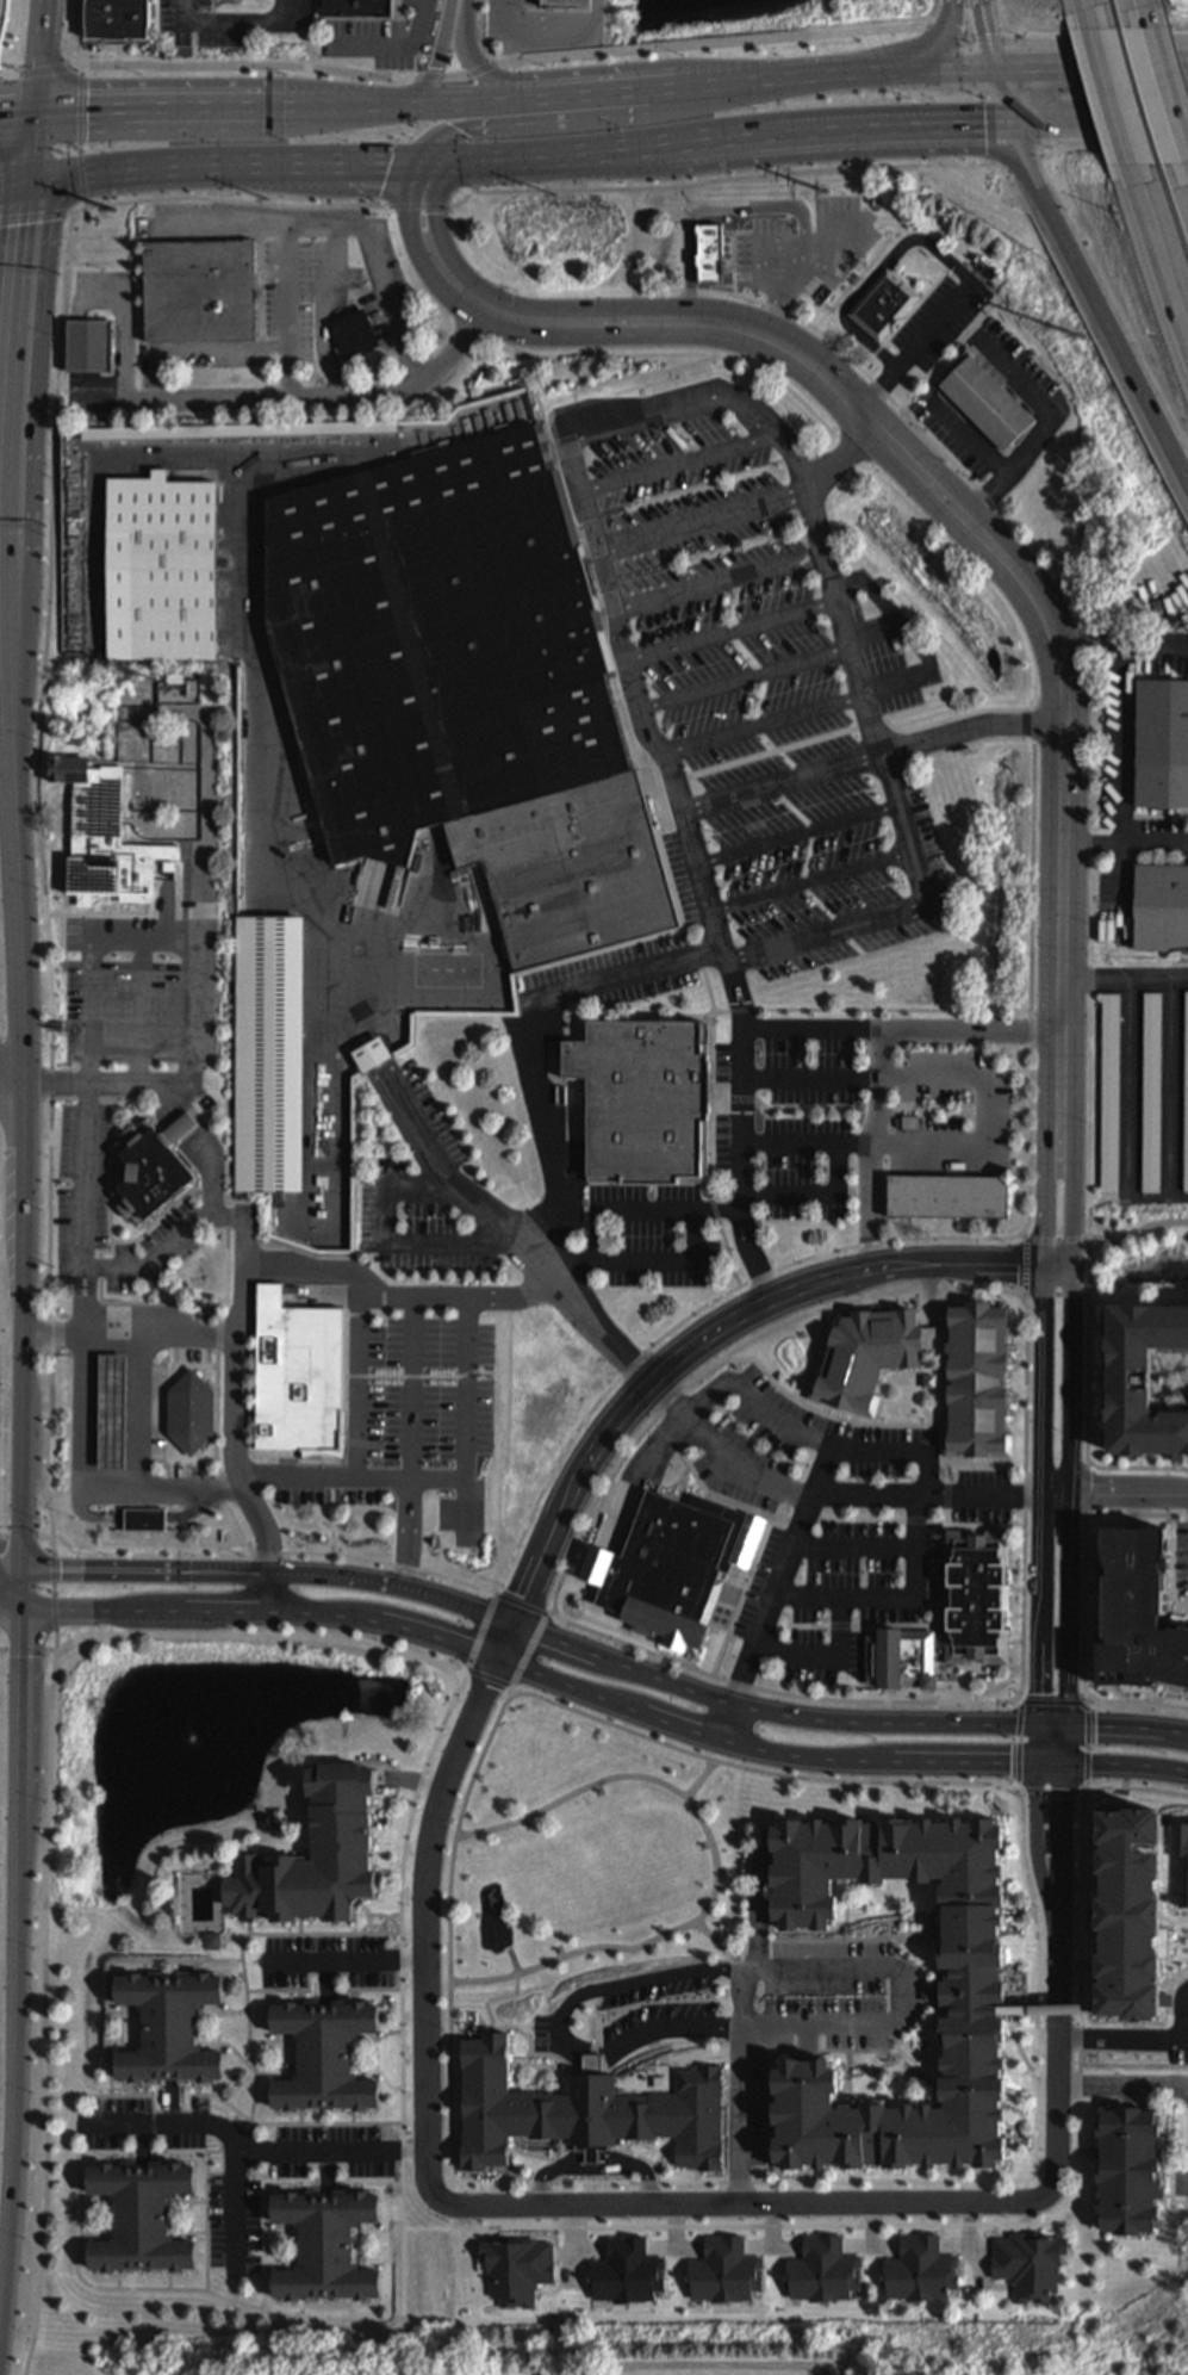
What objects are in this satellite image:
parking lot: (417, 1)
building: (568, 4)
building: (360, 8)
road: (1086, 8)
road: (1147, 8)
road: (185, 10)
road: (281, 14)
road: (598, 15)
building: (118, 20)
parking lot: (209, 20)
road: (223, 20)
road: (76, 31)
road: (537, 32)
road: (484, 33)
parking lot: (541, 35)
road: (989, 36)
parking lot: (368, 38)
road: (969, 39)
road: (720, 42)
road: (391, 44)
road: (1099, 44)
road: (438, 52)
road: (41, 54)
road: (937, 58)
road: (503, 62)
road: (249, 64)
road: (45, 67)
road: (481, 69)
road: (1125, 69)
road: (6, 72)
road: (1031, 72)
traffic signals: (1000, 73)
road: (939, 74)
road: (456, 75)
road: (433, 76)
road: (497, 81)
road: (1169, 83)
road: (1007, 98)
road: (459, 100)
road: (1112, 104)
road: (20, 110)
traffic signals: (41, 110)
road: (576, 116)
road: (1101, 122)
traffic signals: (1014, 124)
road: (80, 134)
road: (738, 138)
road: (33, 143)
road: (1114, 147)
road: (1019, 156)
road: (438, 161)
traffic signals: (464, 161)
traffic signals: (415, 162)
road: (220, 163)
road: (815, 170)
road: (13, 178)
traffic signals: (27, 178)
road: (429, 185)
road: (540, 188)
power tower: (804, 190)
power tower: (695, 191)
power tower: (477, 193)
road: (411, 194)
power tower: (268, 197)
power tower: (97, 200)
road: (230, 200)
road: (709, 204)
road: (419, 205)
road: (36, 212)
road: (342, 222)
road: (767, 241)
parking lot: (804, 243)
road: (825, 250)
building: (713, 254)
road: (337, 262)
road: (1159, 268)
parking lot: (305, 271)
road: (873, 273)
road: (784, 287)
building: (201, 291)
road: (1095, 300)
building: (883, 302)
road: (288, 308)
parking lot: (940, 316)
road: (803, 321)
road: (934, 327)
building: (355, 334)
power tower: (1080, 336)
road: (224, 346)
road: (324, 346)
building: (88, 347)
parking lot: (1010, 358)
road: (158, 371)
road: (15, 372)
road: (634, 378)
road: (879, 389)
road: (100, 393)
road: (249, 393)
road: (723, 393)
building: (984, 401)
building: (204, 433)
parking lot: (954, 433)
road: (1027, 442)
road: (841, 454)
road: (679, 458)
road: (984, 495)
road: (702, 515)
road: (962, 515)
building: (163, 570)
road: (720, 579)
road: (730, 626)
road: (8, 639)
road: (1120, 643)
road: (742, 674)
road: (1035, 680)
building: (466, 692)
parking lot: (750, 694)
road: (761, 720)
building: (1163, 744)
road: (11, 749)
road: (870, 754)
building: (67, 771)
building: (95, 814)
road: (796, 830)
road: (1124, 842)
road: (45, 870)
building: (137, 870)
building: (93, 878)
road: (809, 879)
building: (1159, 909)
road: (139, 910)
road: (18, 937)
road: (1124, 979)
road: (901, 1033)
road: (530, 1035)
building: (266, 1056)
building: (368, 1056)
road: (94, 1083)
road: (1127, 1085)
road: (1170, 1086)
building: (1150, 1095)
building: (1108, 1096)
building: (646, 1100)
building: (1186, 1103)
parking lot: (953, 1114)
road: (985, 1115)
road: (870, 1151)
road: (736, 1157)
parking lot: (744, 1157)
building: (155, 1168)
parking lot: (419, 1189)
road: (1074, 1190)
road: (1045, 1191)
parking lot: (82, 1197)
building: (950, 1197)
road: (82, 1209)
road: (21, 1211)
road: (698, 1211)
road: (508, 1226)
road: (186, 1227)
road: (1089, 1228)
road: (1138, 1232)
road: (1053, 1241)
road: (393, 1244)
road: (665, 1260)
road: (1026, 1271)
road: (244, 1279)
road: (382, 1316)
road: (132, 1335)
road: (724, 1358)
road: (624, 1375)
building: (300, 1377)
road: (421, 1377)
building: (927, 1378)
road: (1087, 1379)
building: (847, 1381)
road: (360, 1382)
building: (1140, 1383)
road: (705, 1391)
building: (1171, 1394)
road: (680, 1409)
road: (468, 1412)
building: (114, 1413)
gas station: (114, 1413)
road: (139, 1414)
building: (193, 1414)
parking lot: (413, 1419)
road: (347, 1421)
road: (413, 1440)
road: (357, 1443)
road: (839, 1444)
road: (24, 1450)
road: (1136, 1469)
road: (758, 1474)
road: (357, 1481)
road: (1070, 1482)
road: (1043, 1483)
road: (88, 1493)
road: (928, 1493)
road: (1115, 1493)
road: (1026, 1499)
road: (1139, 1515)
road: (335, 1519)
building: (148, 1520)
parking lot: (836, 1520)
road: (29, 1534)
road: (789, 1554)
parking lot: (1182, 1561)
building: (671, 1562)
road: (540, 1564)
road: (12, 1567)
traffic signals: (24, 1567)
road: (1173, 1567)
road: (25, 1586)
road: (13, 1589)
road: (57, 1592)
road: (895, 1595)
building: (975, 1601)
road: (13, 1605)
traffic signals: (26, 1605)
road: (539, 1613)
building: (1139, 1613)
road: (481, 1633)
road: (242, 1636)
road: (528, 1650)
road: (604, 1654)
building: (898, 1654)
road: (1084, 1655)
road: (464, 1674)
road: (491, 1679)
road: (1137, 1691)
road: (512, 1692)
road: (604, 1699)
road: (1019, 1700)
road: (732, 1701)
road: (1088, 1701)
road: (24, 1703)
road: (1051, 1704)
road: (1084, 1707)
traffic signals: (1039, 1725)
traffic signals: (1068, 1725)
road: (1019, 1745)
road: (1088, 1751)
traffic signals: (1038, 1762)
traffic signals: (1065, 1763)
road: (701, 1780)
road: (1016, 1791)
road: (1051, 1792)
road: (1062, 1818)
road: (1035, 1819)
park: (579, 1843)
building: (317, 1858)
building: (1181, 1861)
road: (716, 1865)
building: (1124, 1909)
building: (214, 1942)
road: (724, 1946)
parking lot: (326, 1960)
road: (346, 1960)
road: (112, 1964)
road: (857, 1968)
road: (325, 1980)
building: (979, 1989)
building: (929, 1995)
parking lot: (740, 2016)
road: (250, 2027)
building: (172, 2028)
road: (742, 2032)
road: (1122, 2045)
road: (13, 2046)
road: (1058, 2052)
road: (556, 2055)
building: (325, 2057)
road: (1122, 2083)
road: (213, 2095)
road: (173, 2104)
building: (586, 2112)
road: (142, 2137)
road: (144, 2144)
road: (255, 2148)
parking lot: (241, 2164)
road: (325, 2170)
building: (1127, 2170)
road: (452, 2177)
road: (288, 2181)
road: (237, 2200)
road: (750, 2205)
building: (143, 2219)
road: (207, 2221)
road: (1002, 2225)
building: (326, 2246)
building: (1028, 2265)
building: (920, 2271)
road: (189, 2289)
park: (727, 2367)

